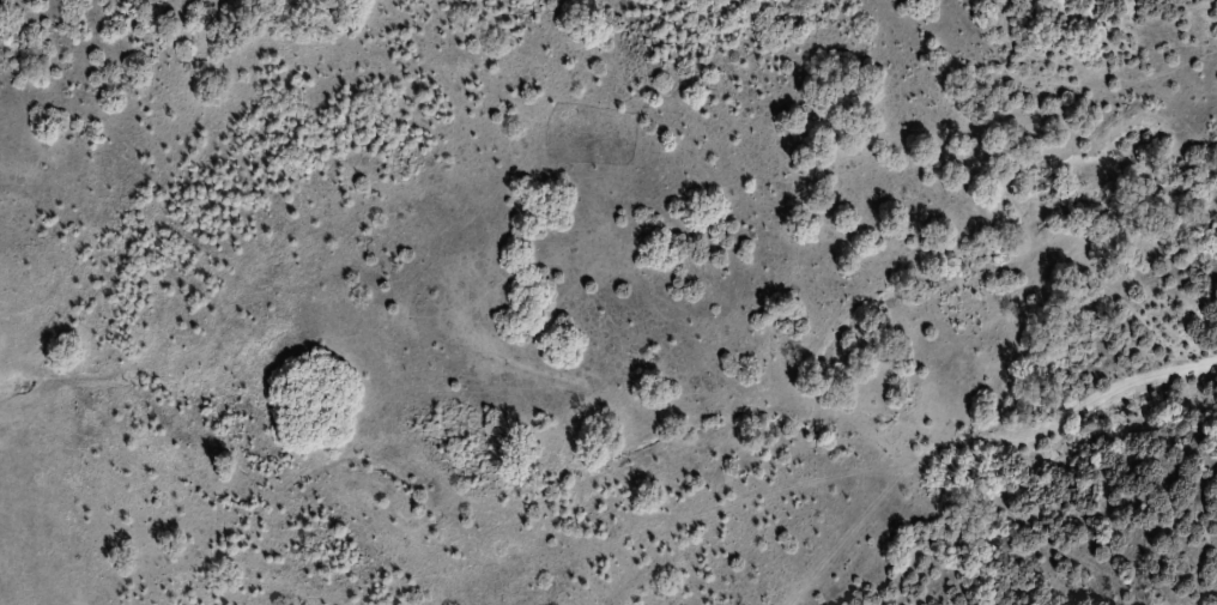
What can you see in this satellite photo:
road: (987, 465)

